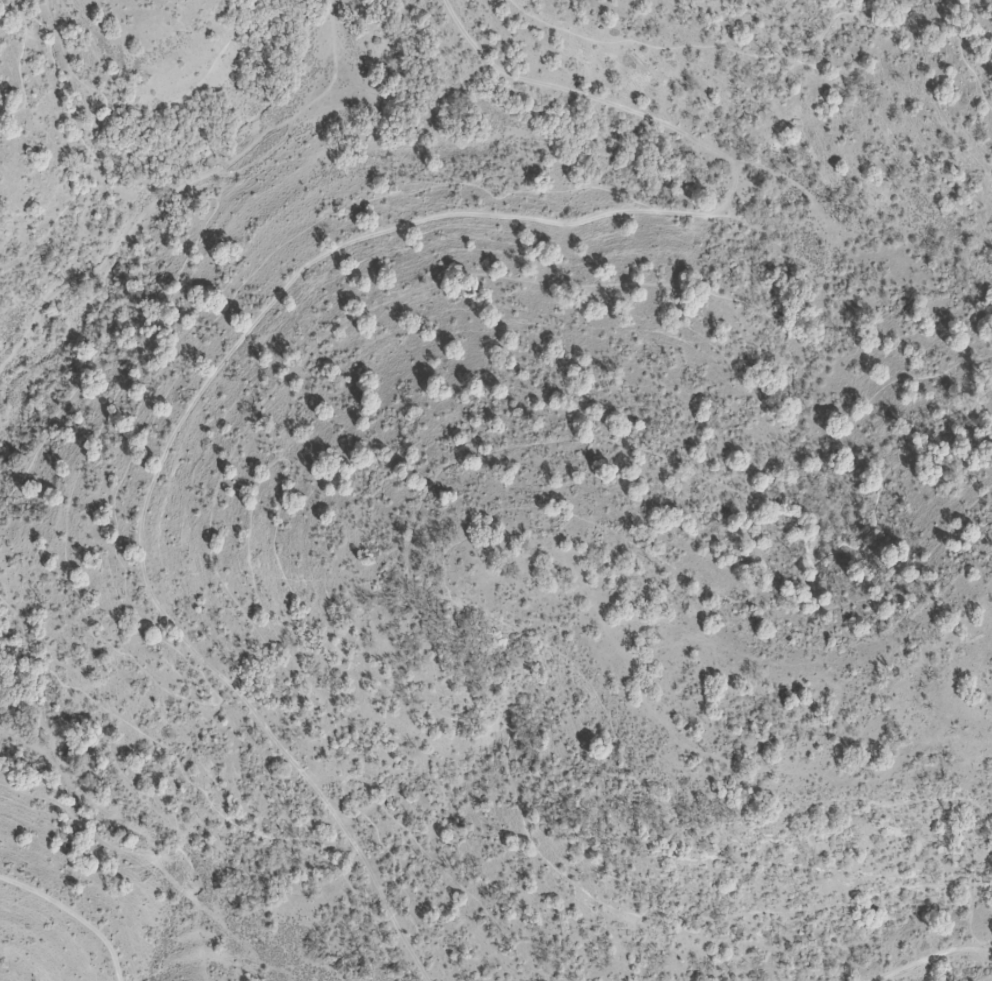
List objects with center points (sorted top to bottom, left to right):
road: (907, 5)
road: (724, 47)
road: (962, 57)
road: (19, 65)
road: (101, 131)
road: (294, 280)
road: (709, 342)
road: (430, 553)
road: (184, 699)
road: (380, 803)
road: (156, 811)
road: (73, 914)
road: (933, 960)

